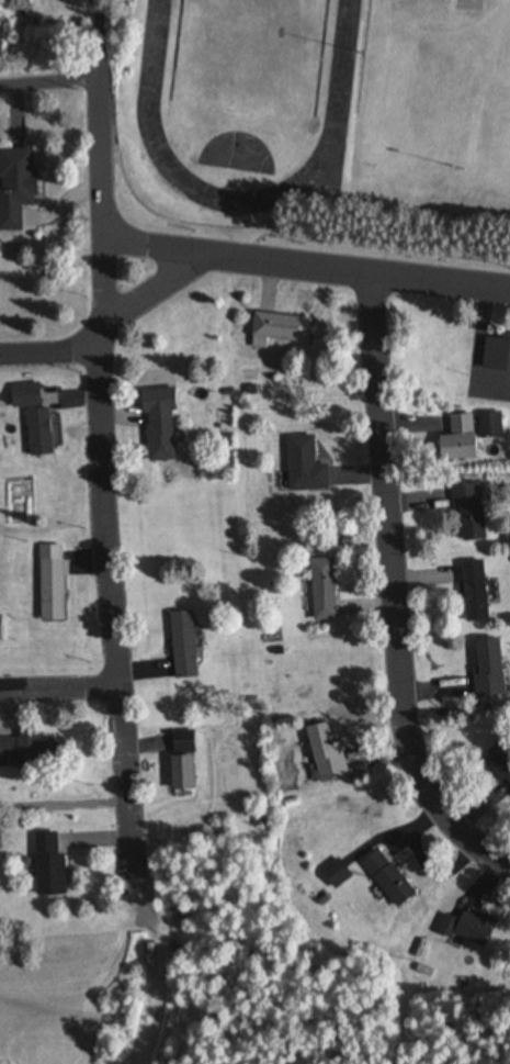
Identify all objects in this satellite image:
building: (477, 34)
road: (47, 81)
park: (435, 97)
track: (149, 107)
building: (13, 186)
road: (154, 246)
road: (356, 270)
road: (109, 325)
building: (274, 329)
road: (98, 344)
building: (495, 352)
building: (31, 418)
building: (156, 425)
building: (487, 425)
building: (455, 439)
building: (302, 464)
building: (466, 512)
building: (49, 590)
building: (320, 590)
road: (393, 590)
building: (472, 592)
building: (0, 630)
building: (180, 645)
building: (485, 668)
road: (59, 690)
building: (180, 741)
building: (27, 752)
building: (322, 752)
building: (498, 762)
building: (180, 772)
road: (127, 783)
building: (46, 864)
building: (333, 874)
building: (385, 878)
building: (465, 928)

